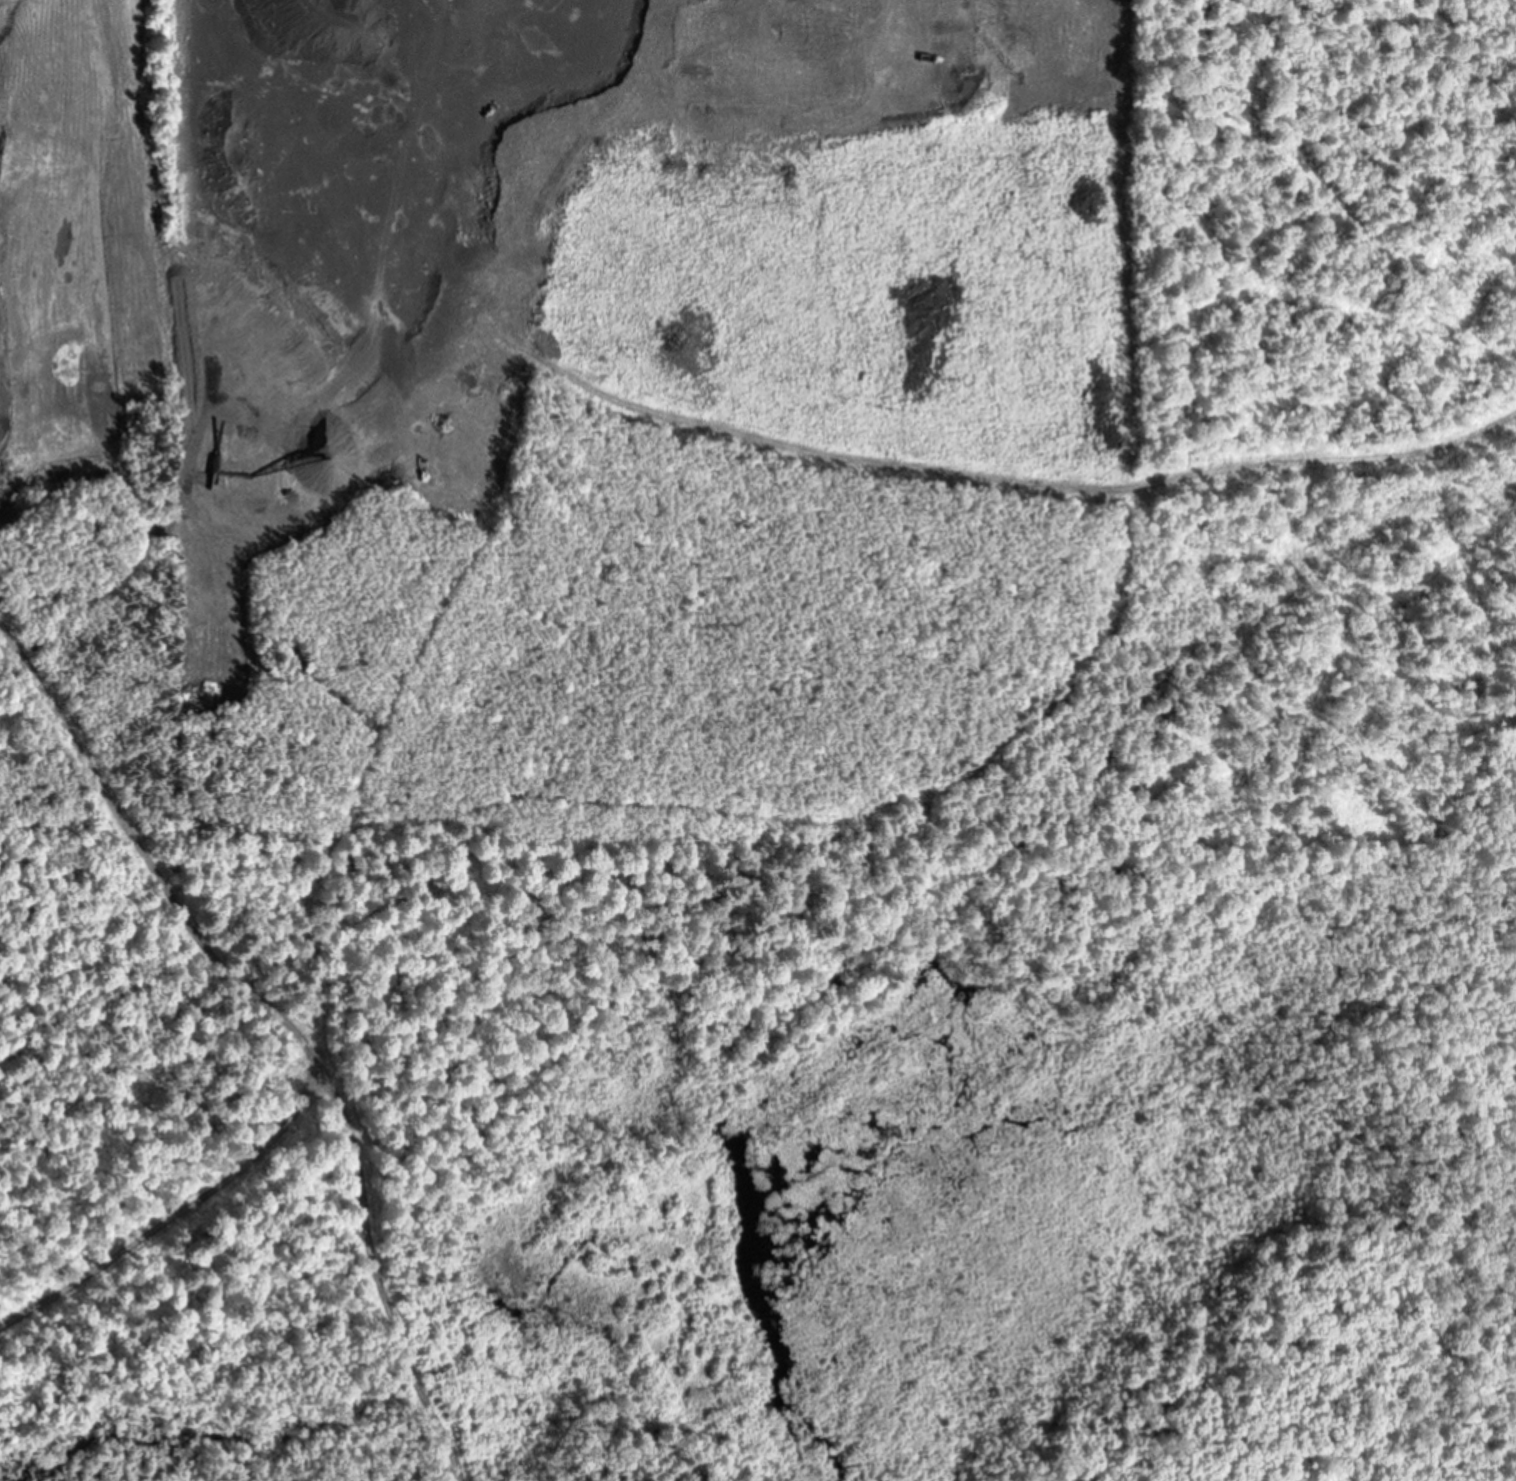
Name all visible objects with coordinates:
quarry: (578, 428)

